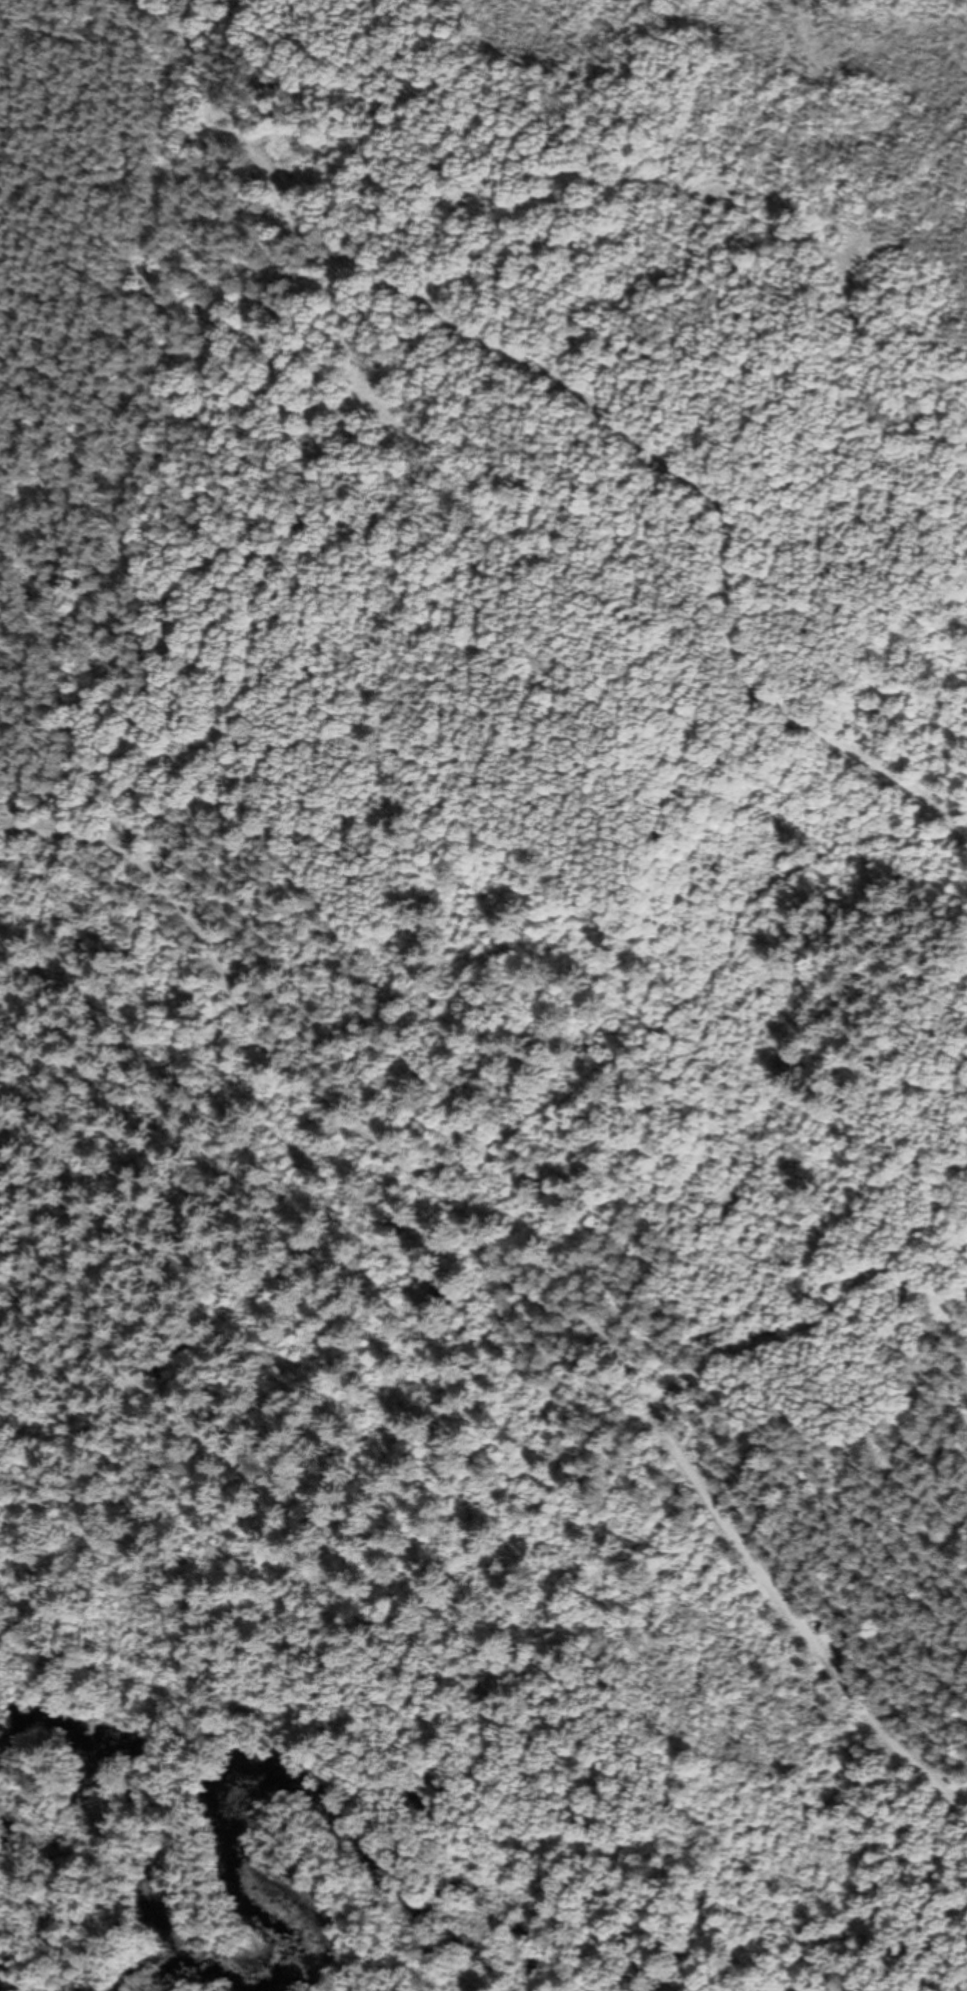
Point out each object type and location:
road: (207, 46)
road: (483, 1421)

